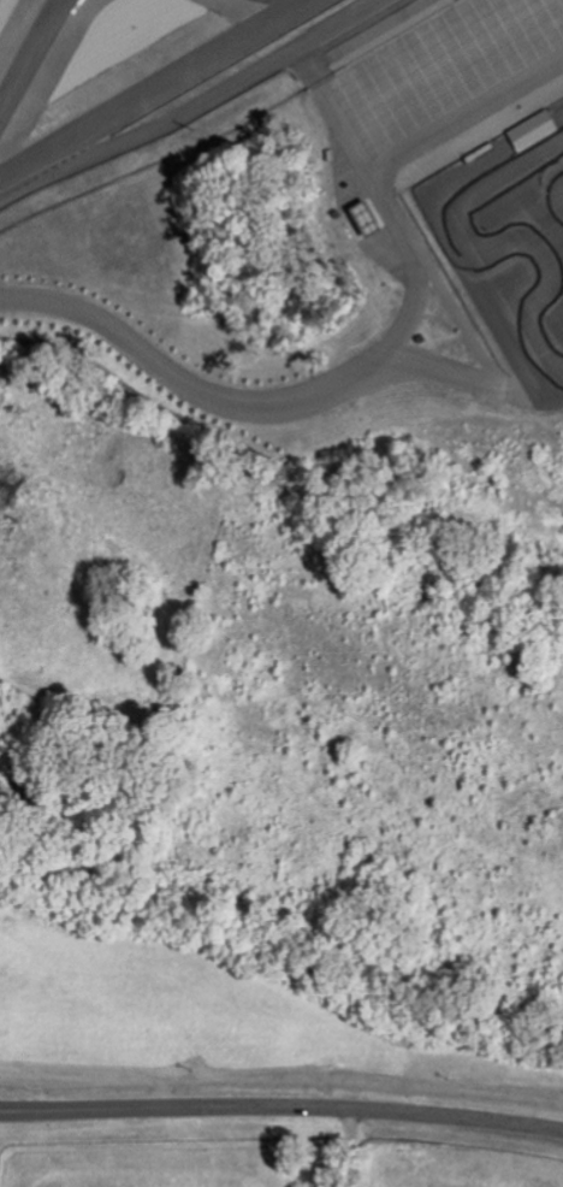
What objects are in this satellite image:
raceway: (28, 49)
parking lot: (446, 64)
raceway: (156, 89)
raceway: (201, 104)
road: (464, 118)
building: (528, 130)
raceway: (556, 195)
road: (381, 202)
gas station: (357, 218)
raceway: (487, 250)
road: (269, 403)
road: (281, 1106)

